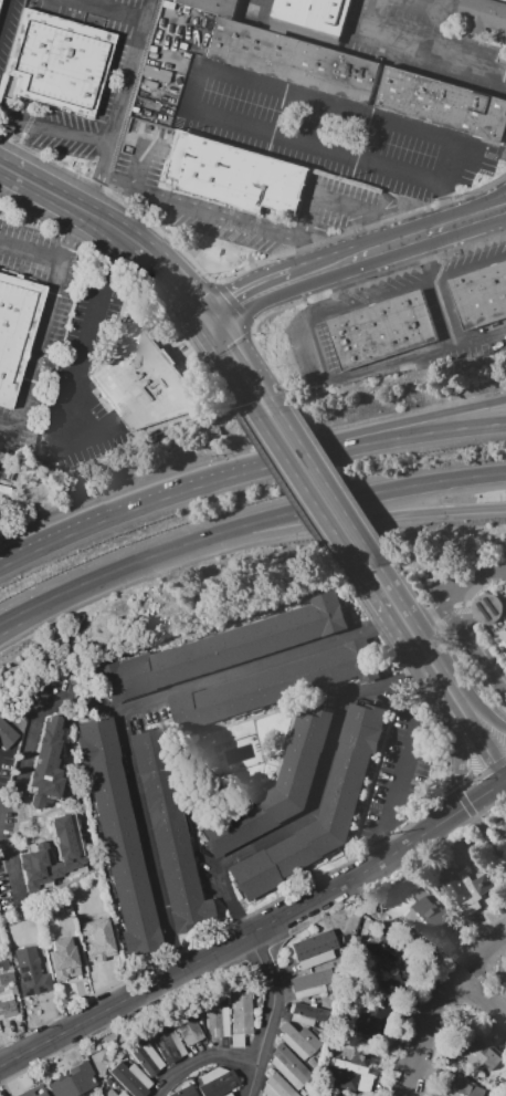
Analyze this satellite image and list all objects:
building: (0, 1)
building: (212, 7)
road: (265, 7)
road: (418, 9)
road: (109, 11)
road: (3, 12)
building: (314, 13)
building: (482, 18)
road: (445, 25)
road: (421, 48)
building: (60, 60)
building: (292, 60)
building: (442, 104)
road: (371, 122)
road: (48, 128)
road: (301, 144)
road: (145, 166)
road: (34, 174)
building: (234, 175)
road: (123, 181)
road: (318, 197)
road: (389, 197)
road: (504, 208)
road: (504, 208)
road: (474, 209)
road: (67, 211)
road: (219, 212)
road: (472, 219)
road: (86, 229)
road: (375, 230)
road: (151, 243)
road: (367, 252)
road: (32, 254)
road: (306, 255)
road: (426, 258)
road: (470, 269)
road: (166, 291)
road: (318, 293)
building: (479, 295)
road: (255, 296)
road: (379, 299)
traffic signals: (219, 316)
road: (209, 323)
building: (15, 330)
traffic signals: (199, 331)
building: (380, 331)
road: (95, 333)
road: (454, 337)
road: (245, 359)
road: (225, 370)
road: (356, 373)
building: (140, 377)
road: (377, 429)
road: (378, 447)
road: (334, 491)
road: (342, 494)
road: (316, 501)
road: (123, 512)
road: (345, 524)
road: (109, 574)
road: (17, 615)
building: (493, 617)
road: (17, 619)
road: (455, 619)
road: (423, 622)
road: (414, 626)
building: (220, 649)
road: (412, 653)
building: (273, 685)
road: (471, 701)
road: (128, 706)
road: (473, 721)
building: (7, 734)
road: (476, 744)
road: (408, 749)
building: (48, 765)
road: (457, 769)
road: (503, 779)
building: (276, 786)
building: (345, 786)
road: (461, 792)
road: (313, 798)
building: (169, 833)
road: (486, 833)
building: (118, 835)
building: (505, 844)
building: (71, 850)
building: (463, 887)
building: (426, 916)
road: (253, 930)
building: (98, 938)
building: (314, 948)
building: (383, 952)
building: (63, 958)
building: (3, 964)
building: (32, 971)
building: (7, 978)
building: (309, 983)
road: (478, 992)
road: (429, 999)
building: (7, 1005)
building: (305, 1013)
building: (241, 1016)
building: (369, 1016)
building: (217, 1019)
building: (188, 1026)
building: (314, 1032)
building: (298, 1040)
building: (168, 1043)
road: (261, 1051)
building: (478, 1051)
building: (118, 1054)
building: (107, 1055)
building: (146, 1056)
building: (288, 1066)
building: (351, 1073)
building: (131, 1078)
road: (253, 1079)
building: (108, 1081)
building: (74, 1082)
building: (218, 1082)
building: (276, 1086)
building: (460, 1087)
building: (185, 1090)
building: (33, 1092)
building: (112, 1093)
building: (505, 1094)
building: (224, 1095)
building: (328, 1095)

